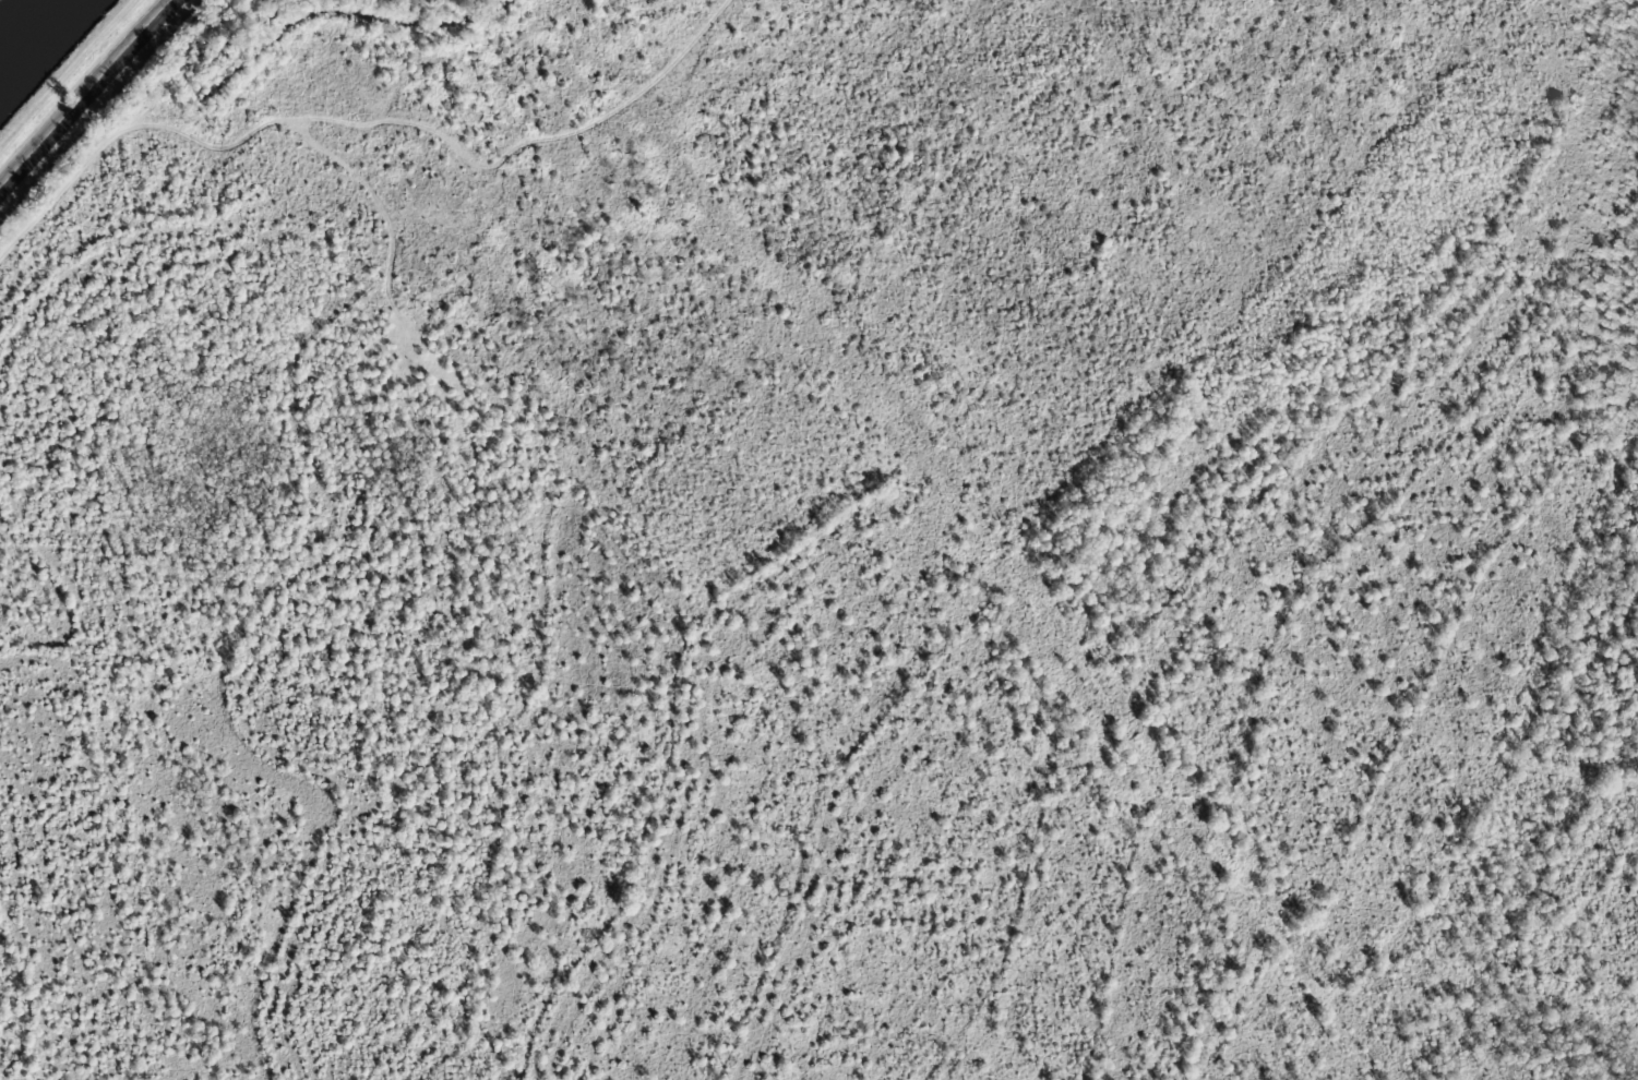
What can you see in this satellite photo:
road: (89, 99)

